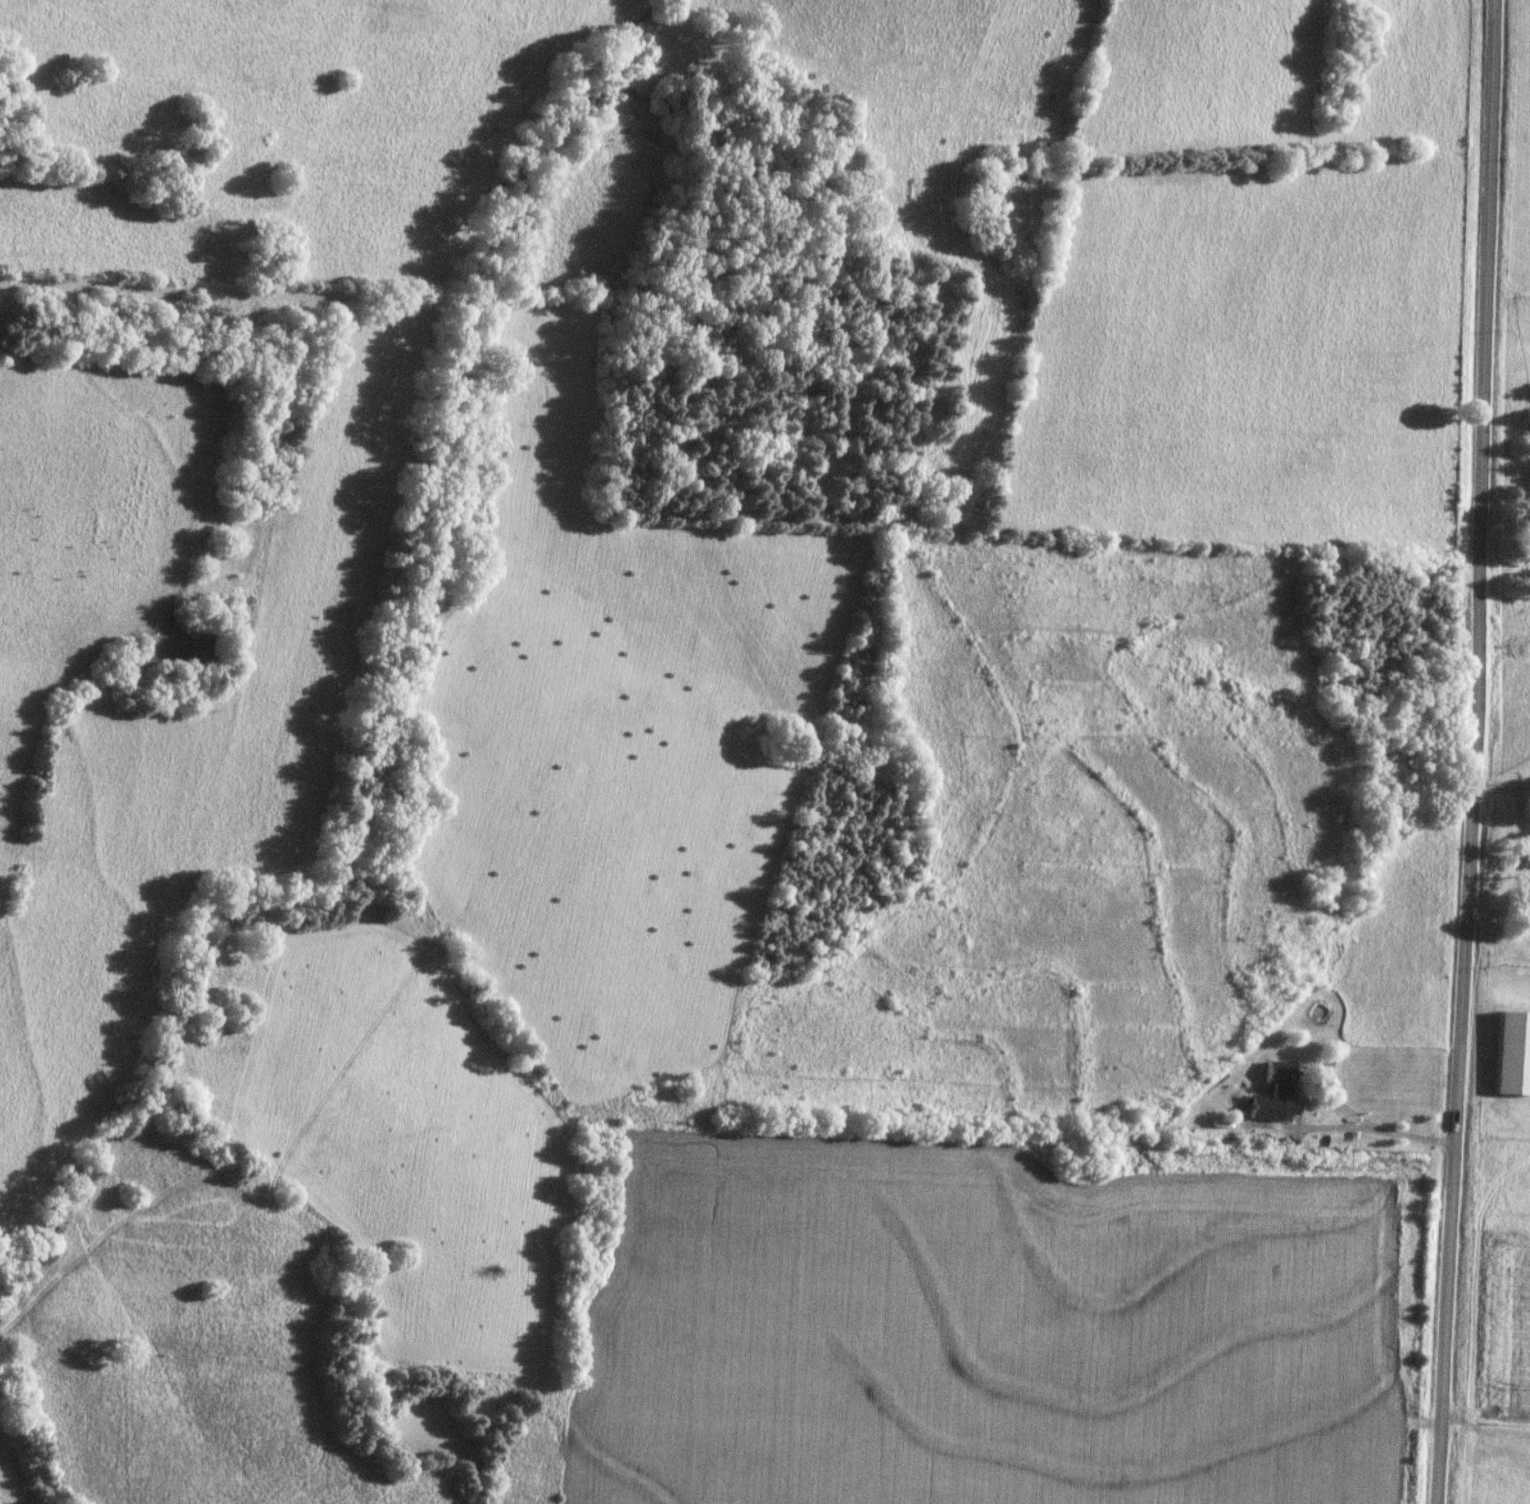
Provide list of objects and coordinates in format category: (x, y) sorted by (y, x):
road: (1472, 752)
building: (1277, 1095)
road: (1376, 1126)

